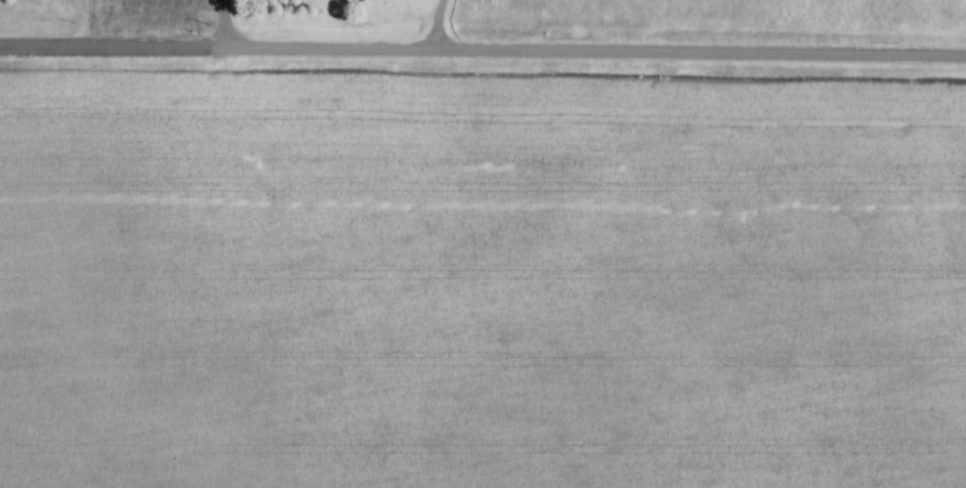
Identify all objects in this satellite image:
road: (223, 24)
road: (482, 50)

